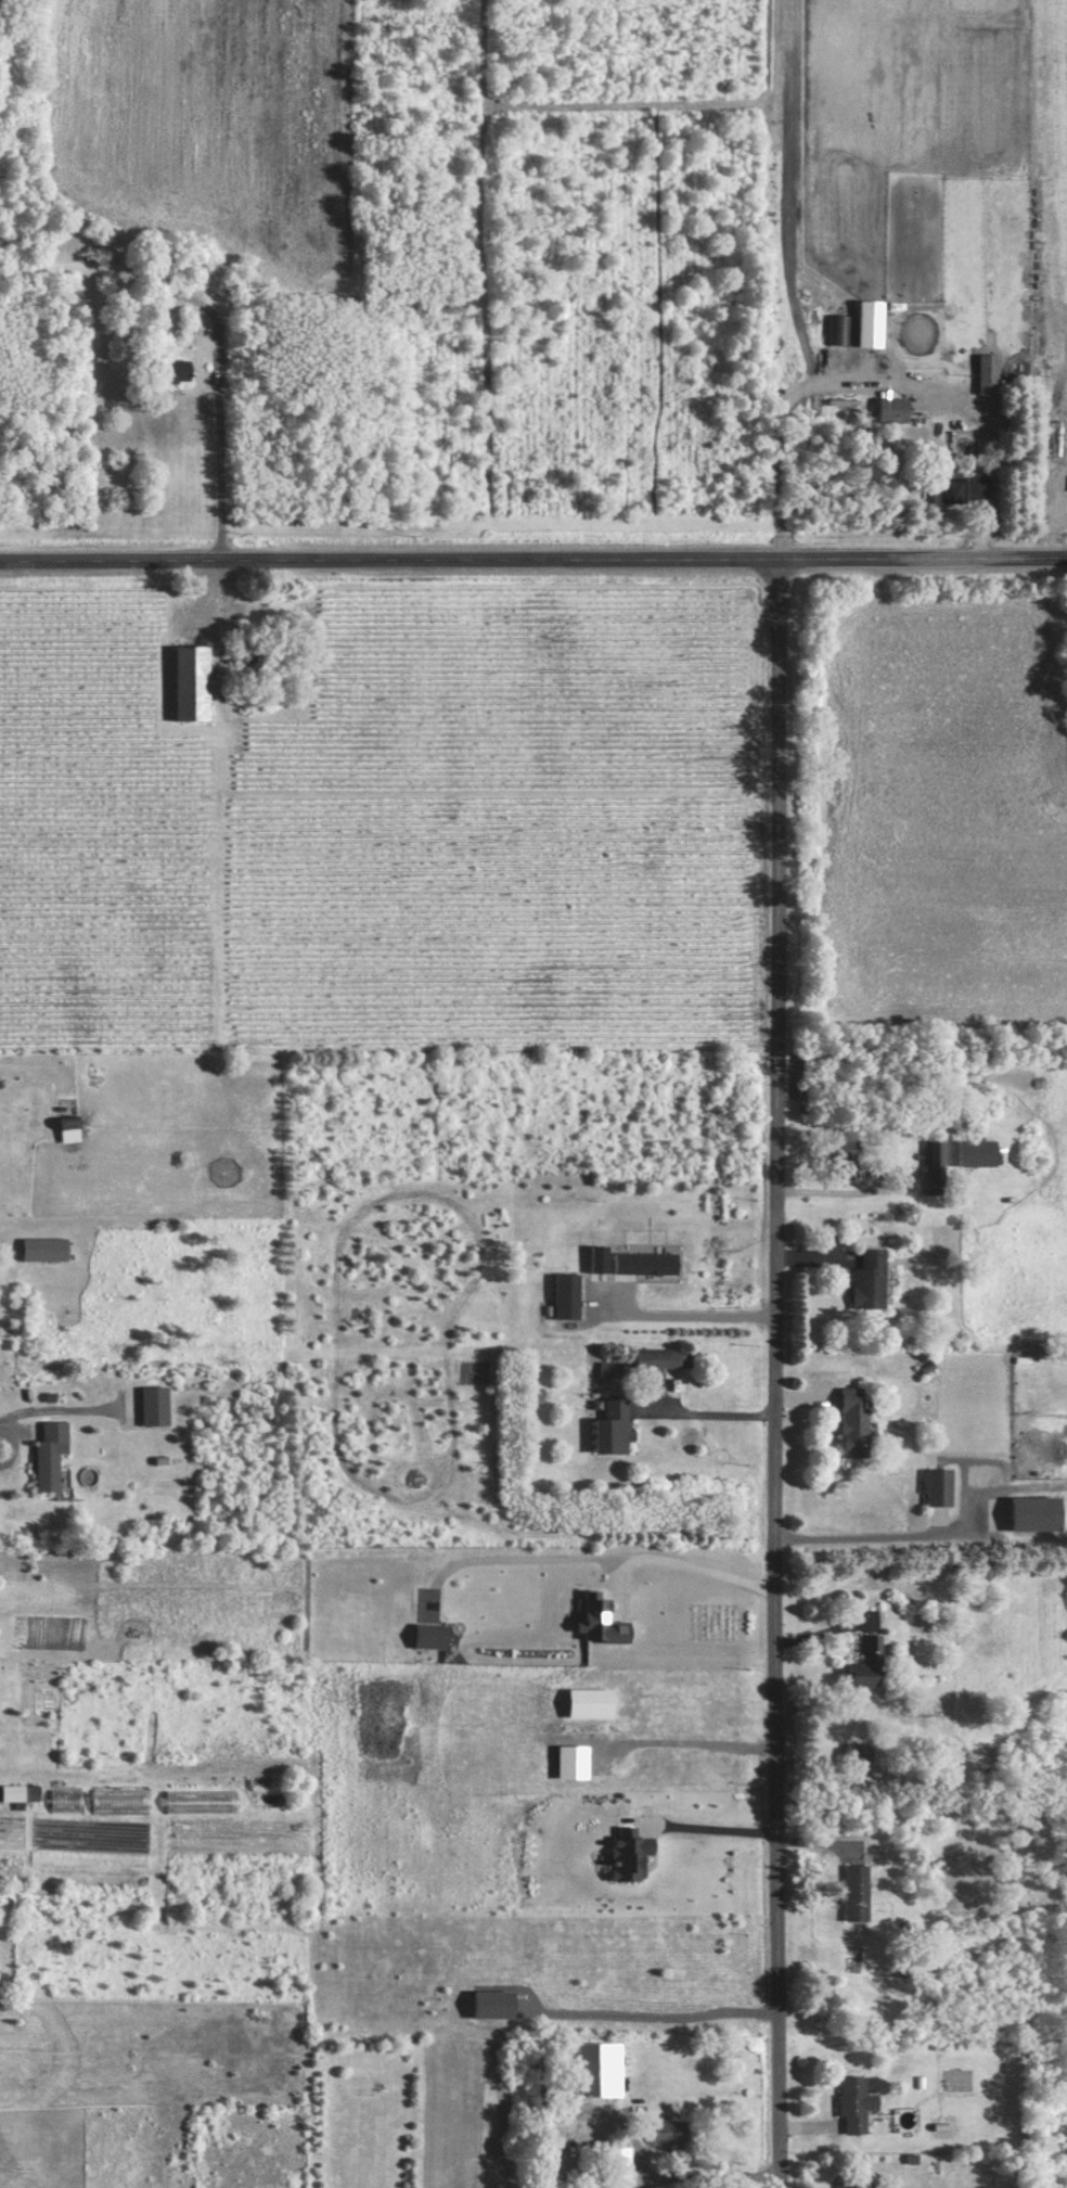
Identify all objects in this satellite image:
building: (181, 370)
building: (992, 372)
building: (896, 409)
road: (775, 424)
road: (222, 436)
building: (967, 489)
road: (532, 550)
building: (195, 680)
building: (73, 1128)
building: (979, 1151)
building: (936, 1165)
road: (838, 1188)
building: (48, 1247)
building: (872, 1279)
building: (570, 1295)
road: (685, 1317)
building: (667, 1359)
road: (780, 1369)
road: (710, 1416)
building: (857, 1421)
building: (615, 1425)
road: (14, 1445)
building: (53, 1454)
building: (939, 1485)
road: (878, 1533)
road: (692, 1554)
building: (870, 1664)
road: (699, 1745)
building: (860, 1754)
building: (15, 1792)
building: (70, 1804)
road: (719, 1831)
building: (859, 1893)
road: (674, 2016)
building: (595, 2069)
building: (858, 2103)
building: (672, 2132)
road: (696, 2174)
building: (858, 2184)

